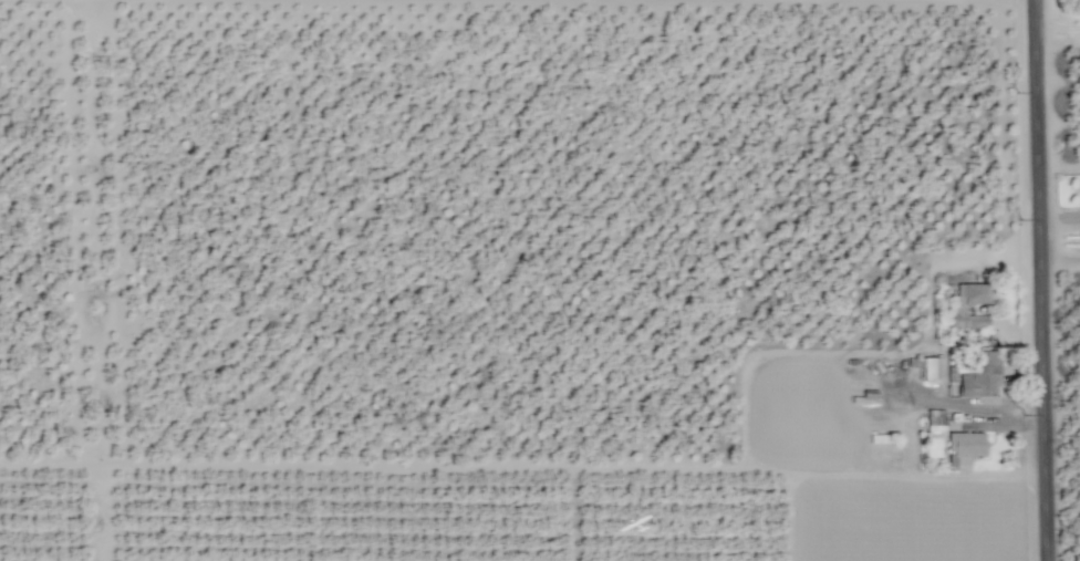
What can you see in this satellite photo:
road: (1045, 280)
road: (1045, 280)
building: (959, 305)
building: (932, 368)
building: (980, 375)
building: (935, 422)
building: (964, 448)
road: (432, 474)
road: (97, 516)

